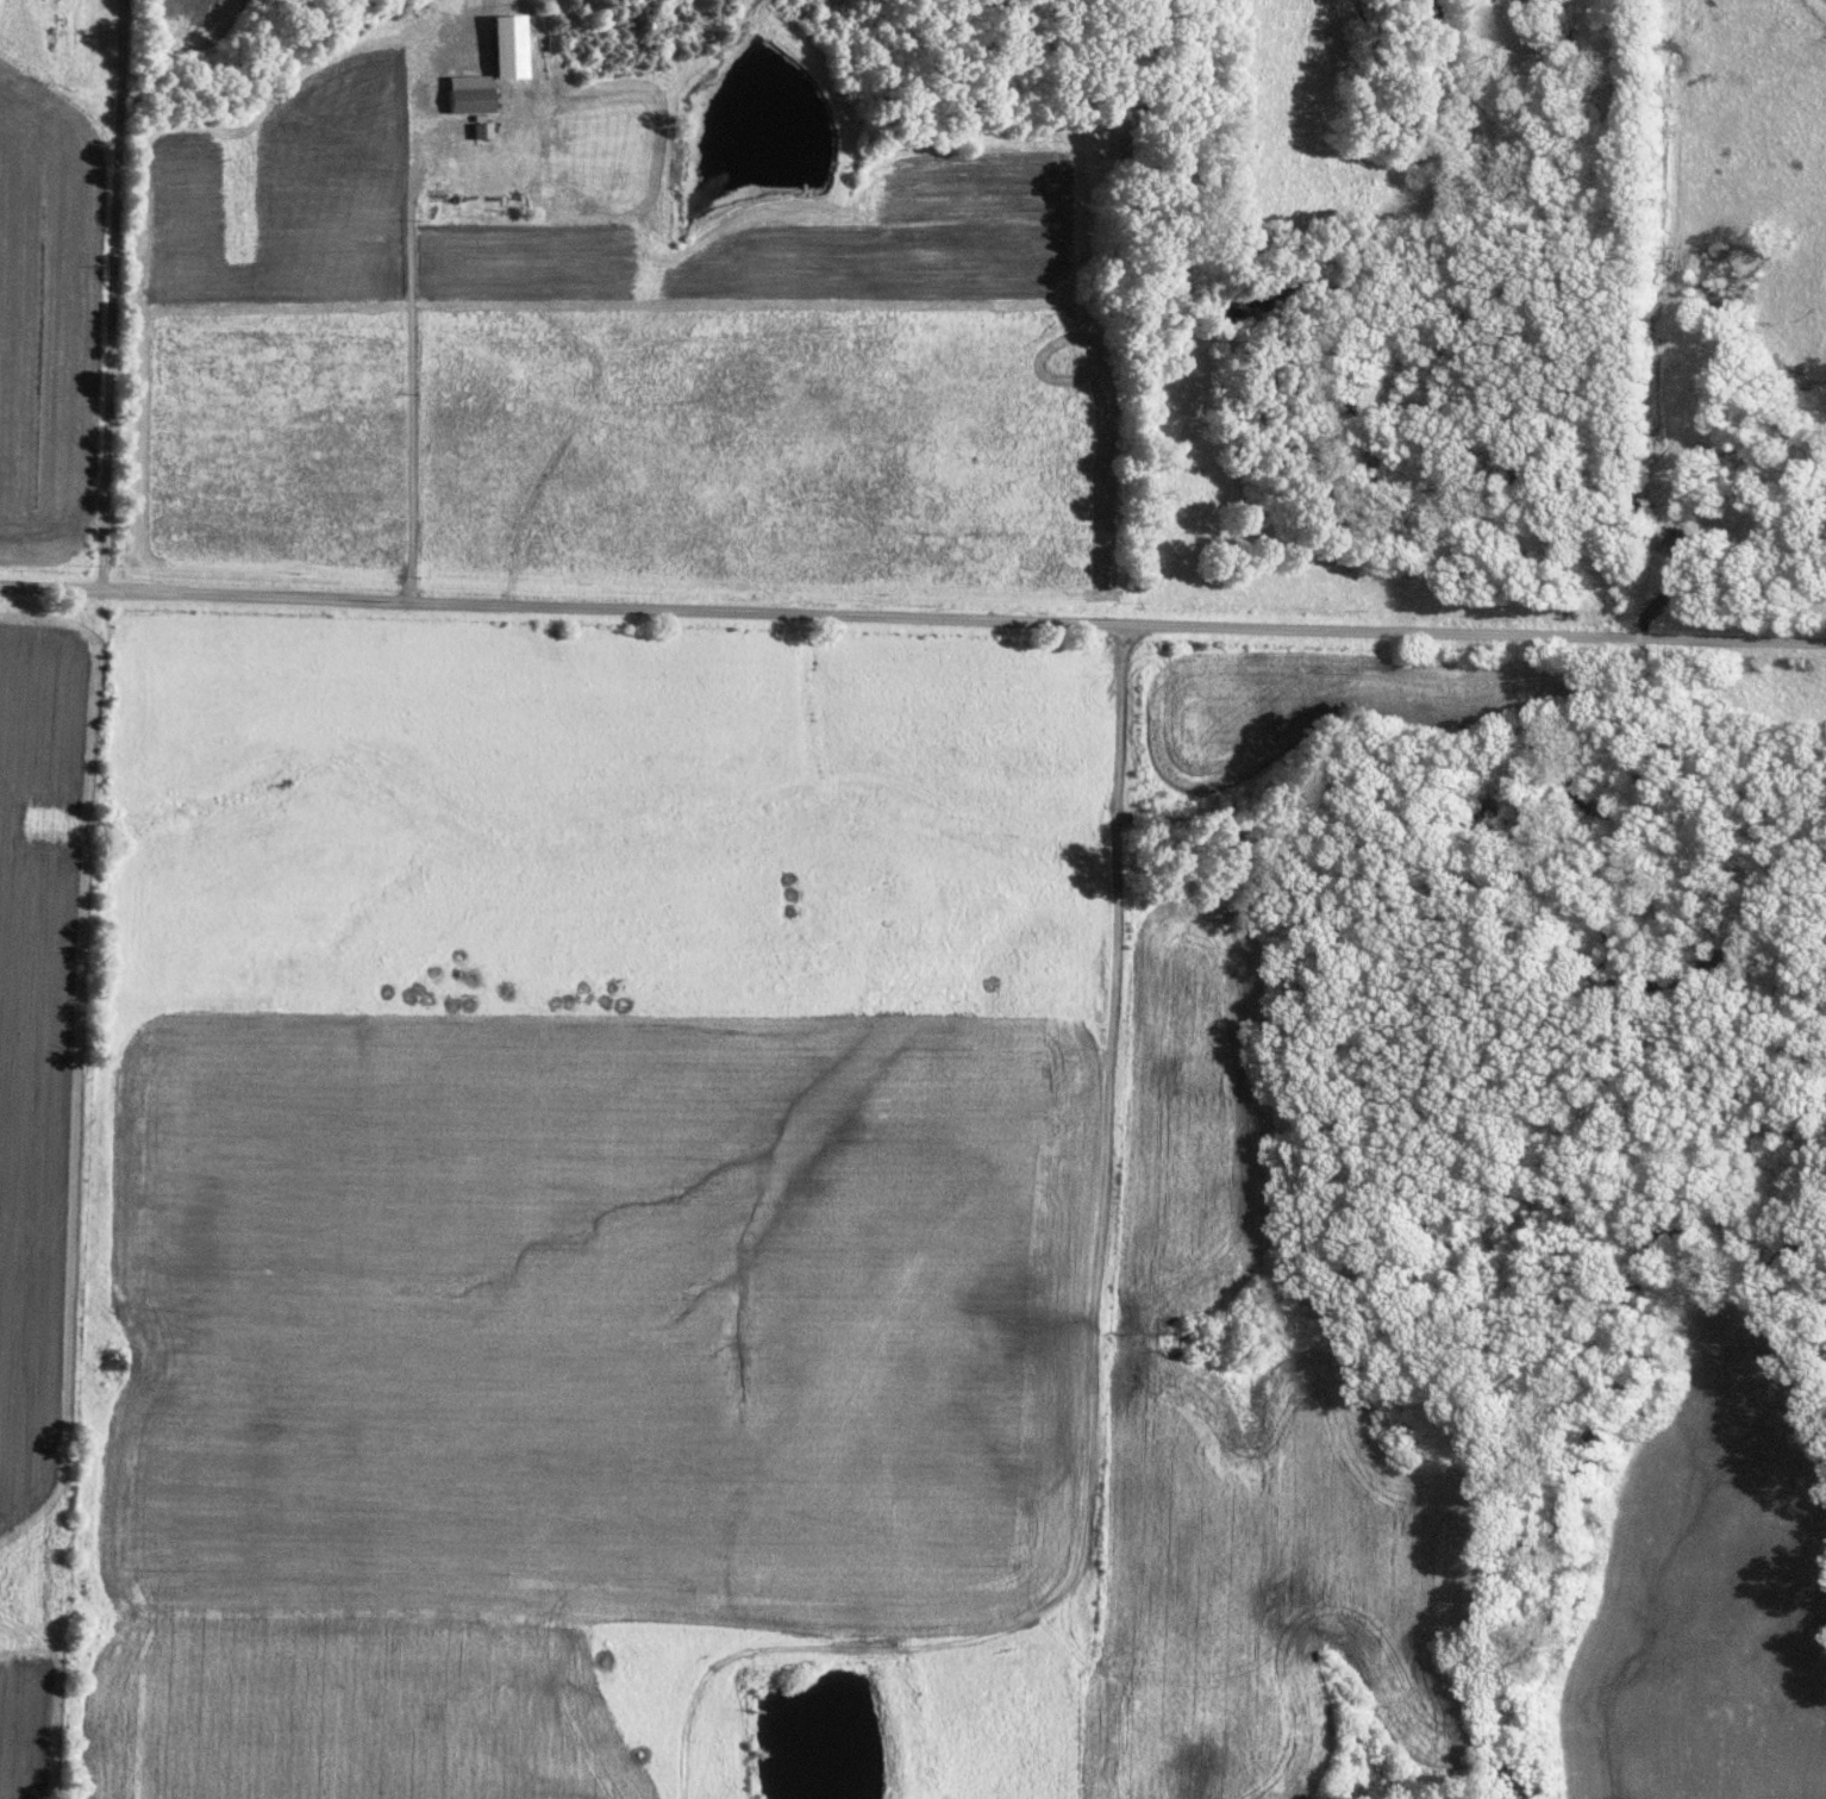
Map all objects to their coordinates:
building: (458, 100)
road: (113, 295)
road: (912, 619)

